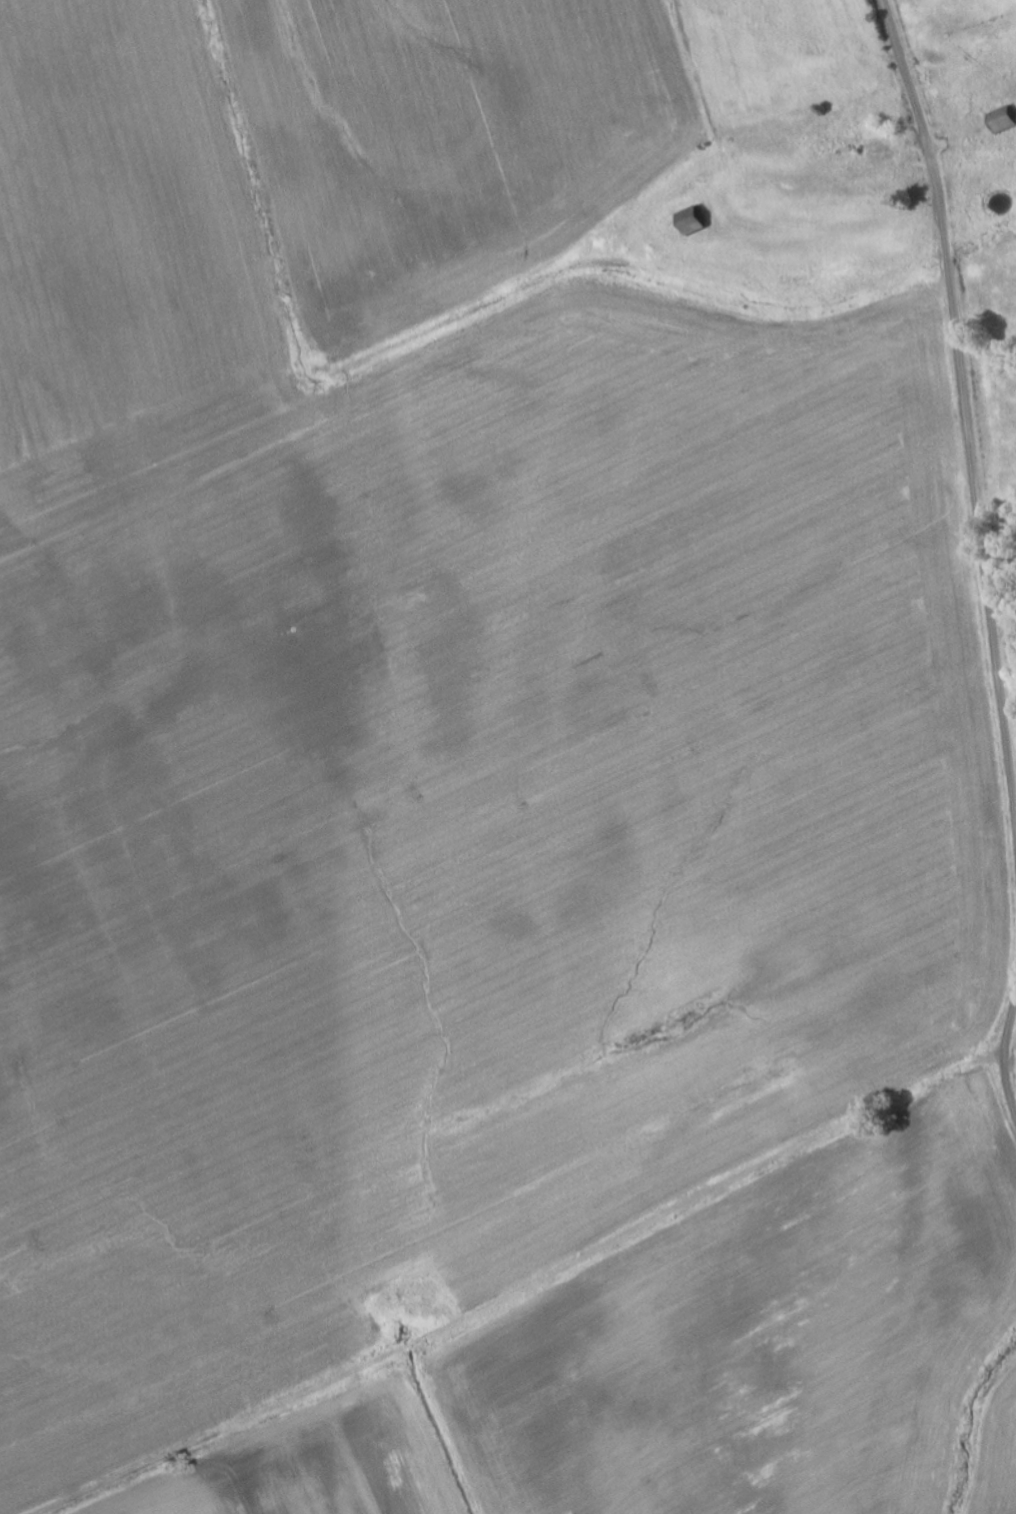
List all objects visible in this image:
road: (963, 414)
road: (1007, 1054)
road: (501, 1273)

